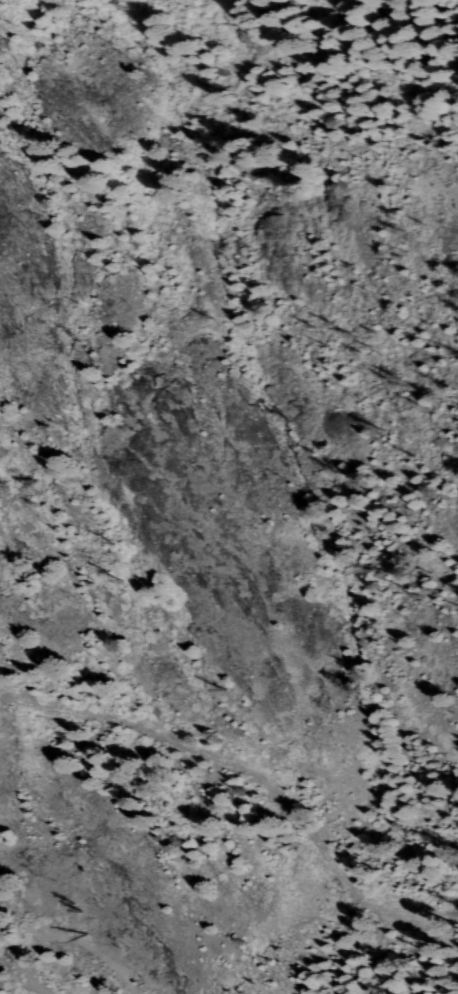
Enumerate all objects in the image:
road: (258, 775)
road: (72, 937)

